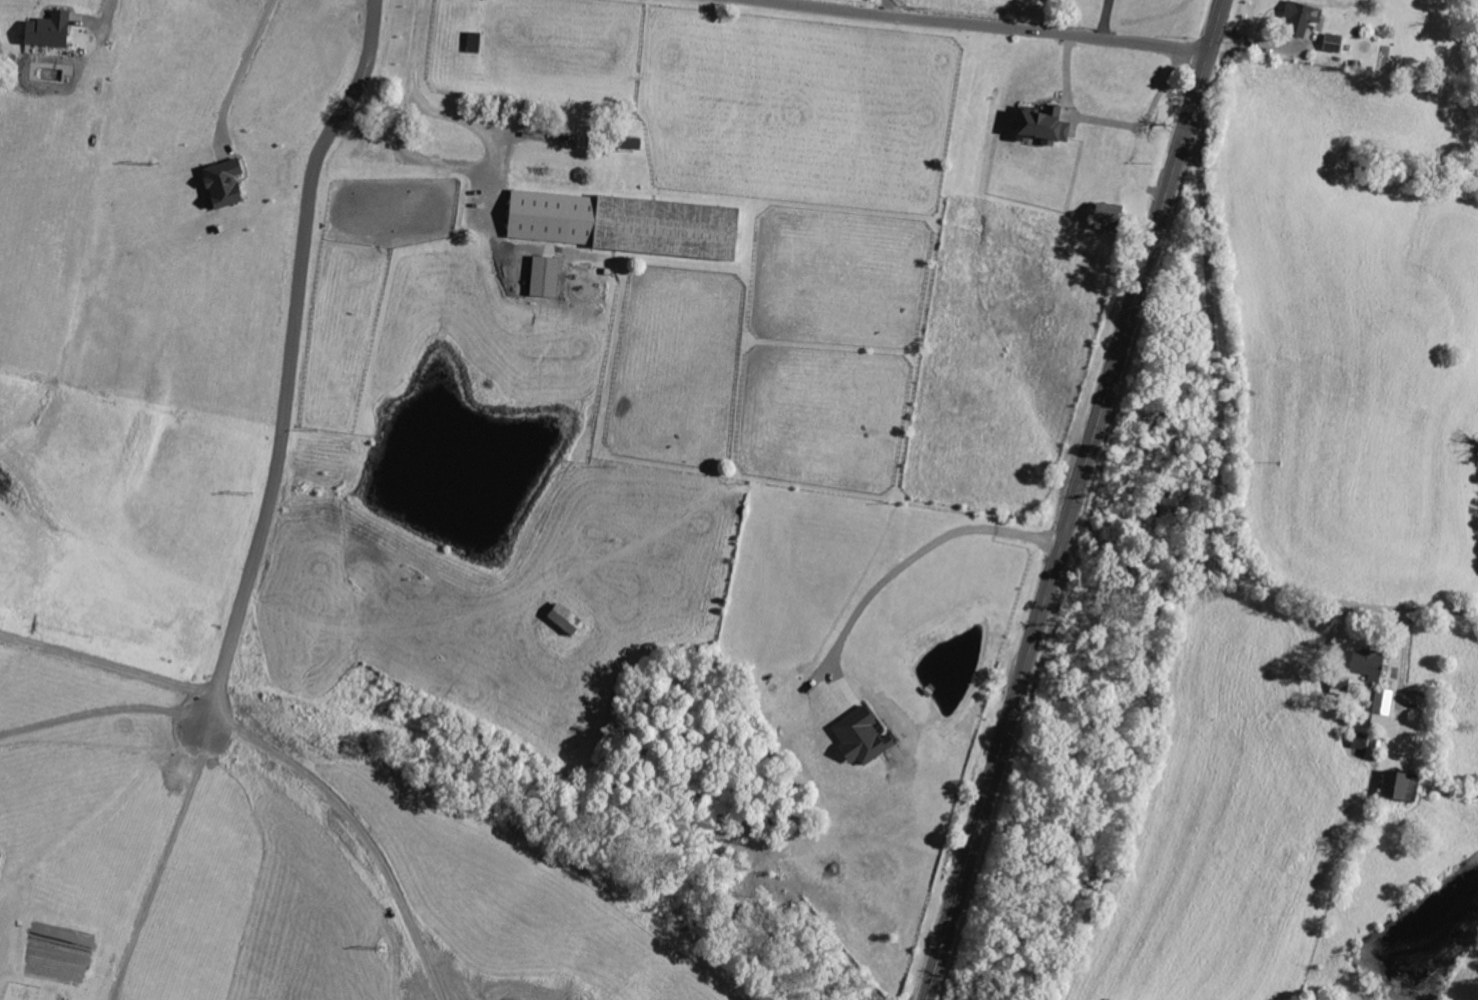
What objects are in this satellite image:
road: (888, 8)
building: (1295, 18)
road: (1106, 19)
road: (978, 26)
building: (47, 30)
road: (376, 34)
building: (472, 42)
building: (1331, 43)
road: (417, 50)
road: (241, 75)
road: (1112, 123)
building: (1040, 124)
building: (616, 141)
road: (481, 165)
road: (1140, 167)
building: (220, 183)
building: (629, 226)
road: (289, 396)
road: (1223, 467)
road: (1079, 500)
road: (914, 559)
building: (564, 616)
road: (1405, 657)
building: (1364, 664)
road: (109, 667)
building: (1379, 708)
building: (858, 738)
building: (1396, 787)
road: (362, 829)
road: (166, 865)

